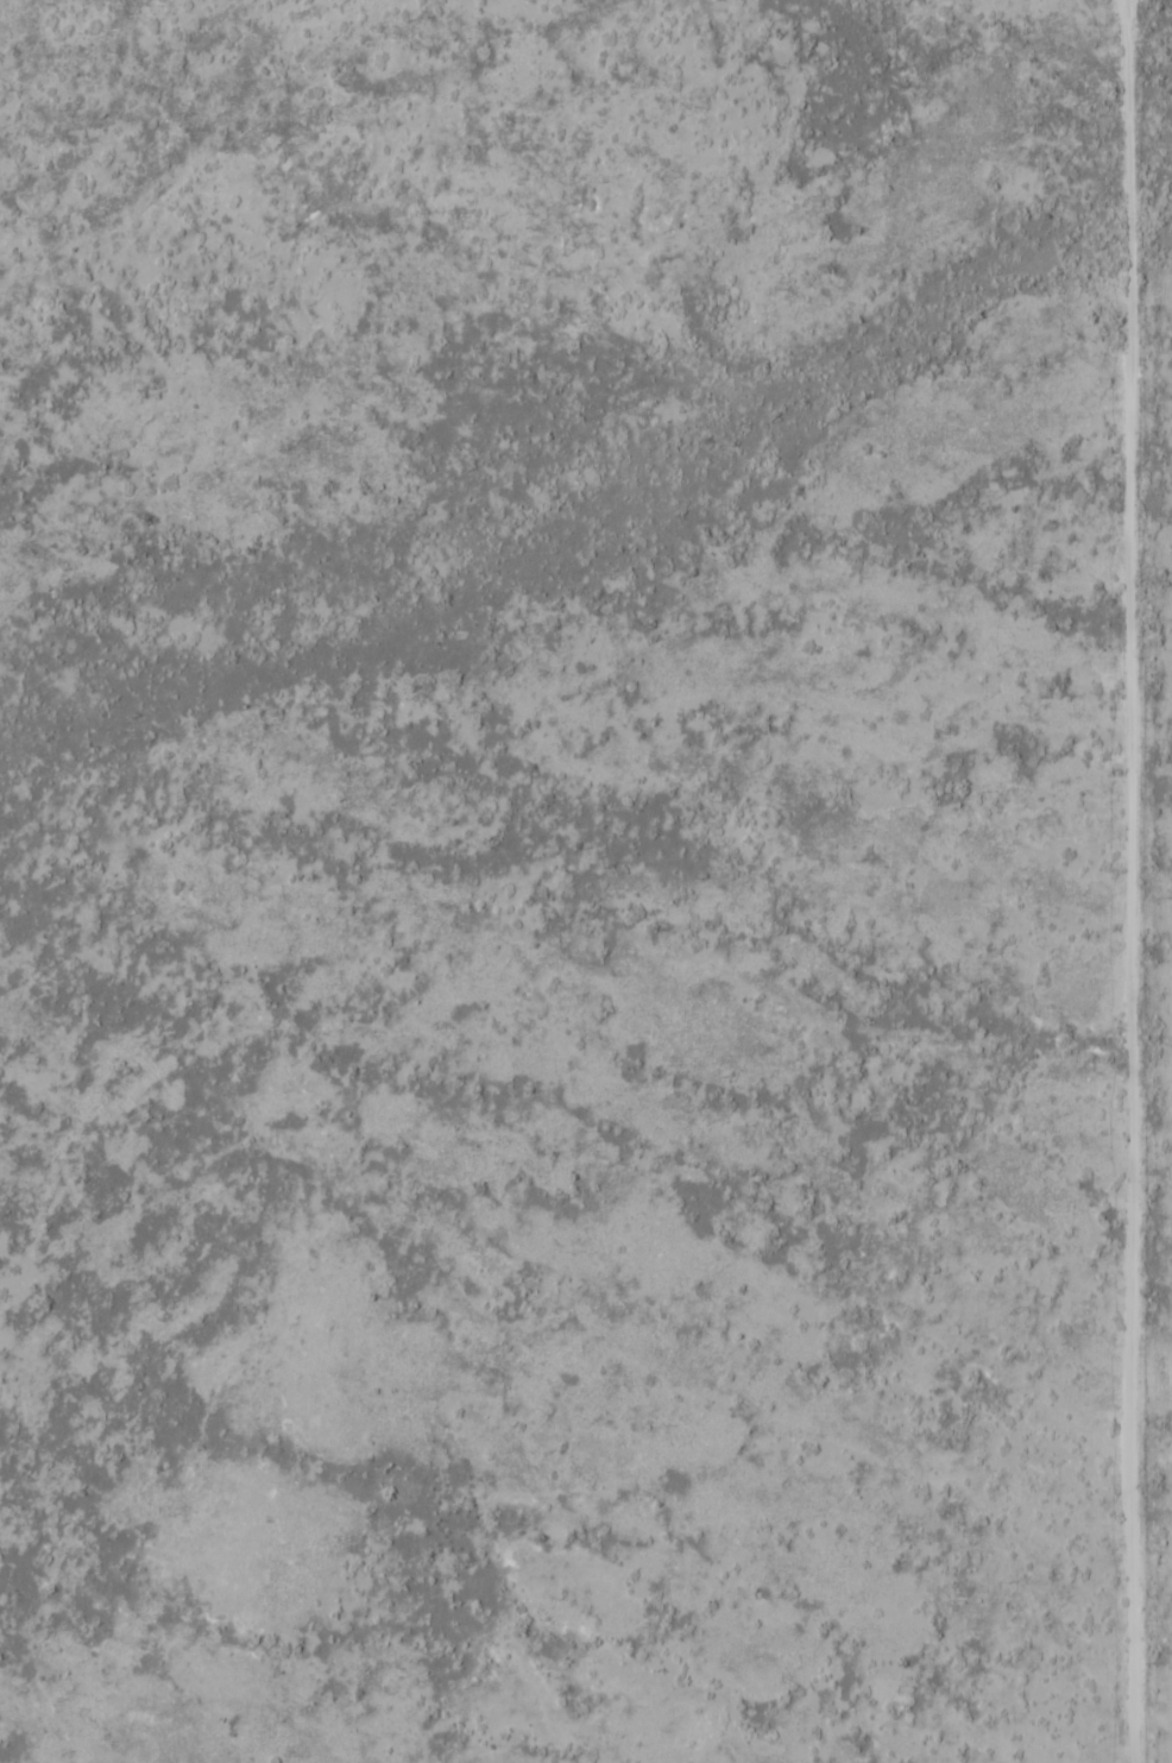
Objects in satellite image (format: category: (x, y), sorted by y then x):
power tower: (1161, 144)
power tower: (1161, 521)
road: (1126, 881)
power tower: (1164, 898)
power tower: (1164, 1276)
power tower: (1164, 1654)

